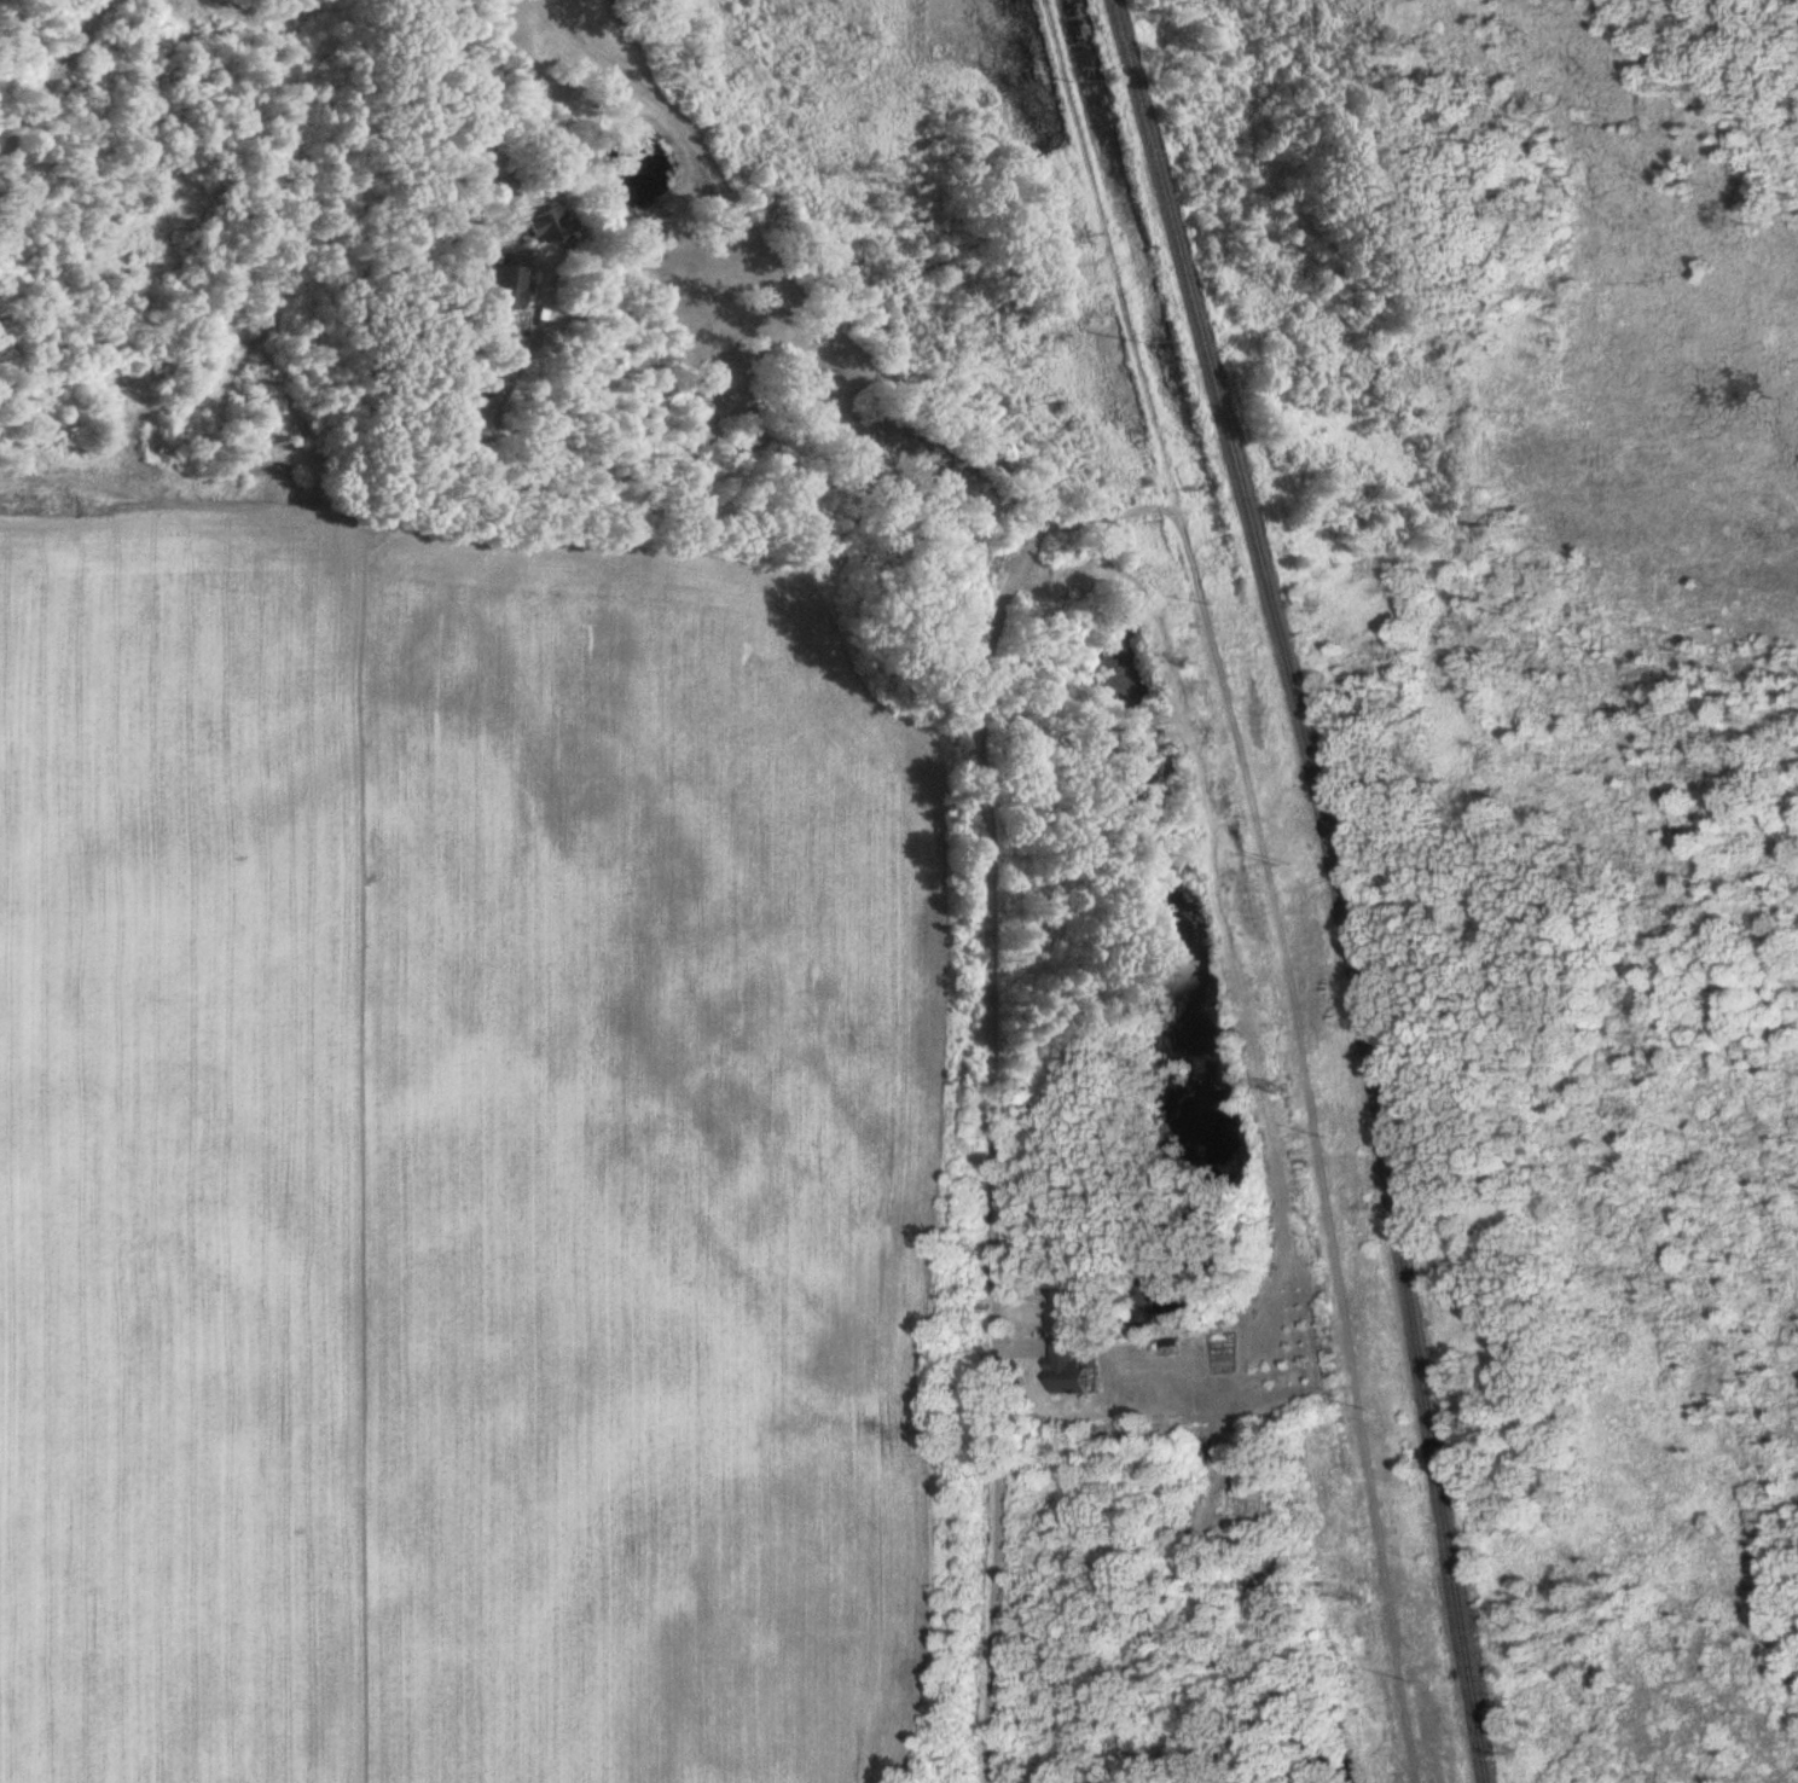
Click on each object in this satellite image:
road: (481, 111)
building: (549, 226)
power tower: (1081, 236)
building: (510, 289)
power tower: (1193, 661)
road: (981, 785)
railway: (1340, 882)
power tower: (1277, 1090)
building: (1071, 1370)
power tower: (1359, 1597)

